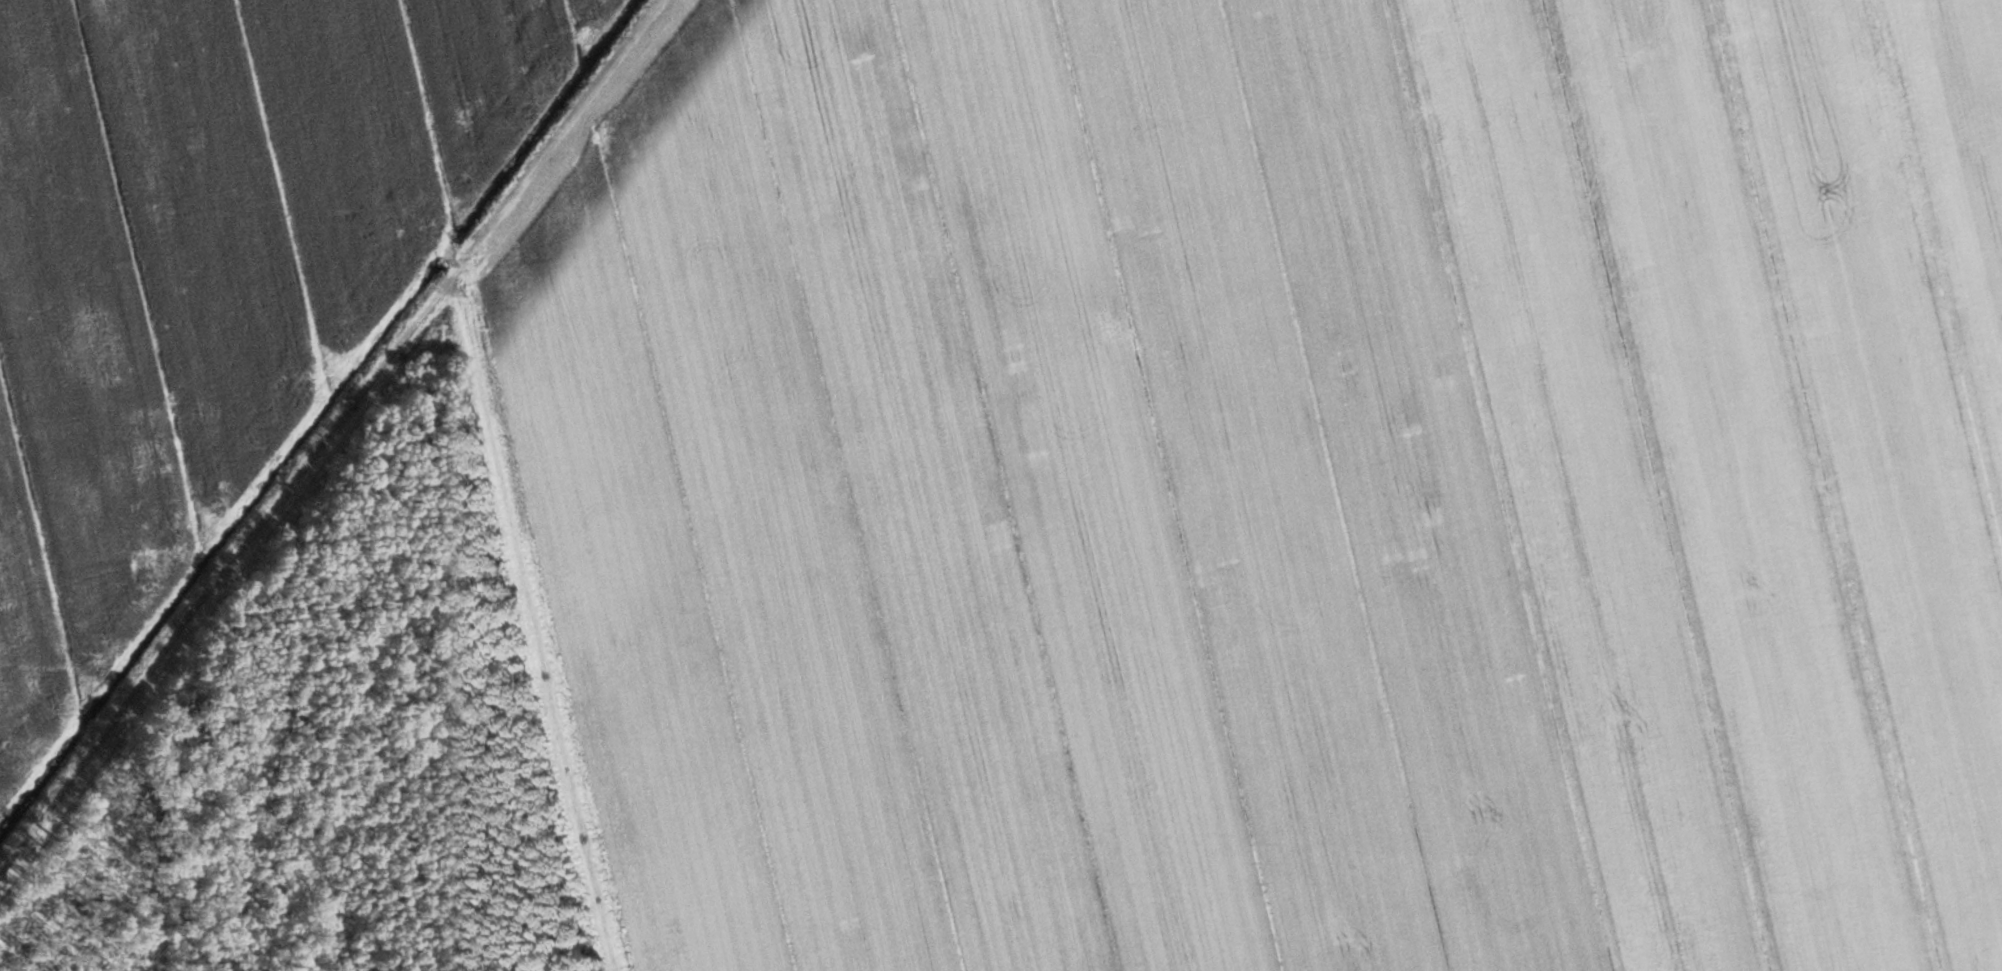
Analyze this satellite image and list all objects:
road: (564, 130)
crop: (208, 270)
crop: (1279, 483)

